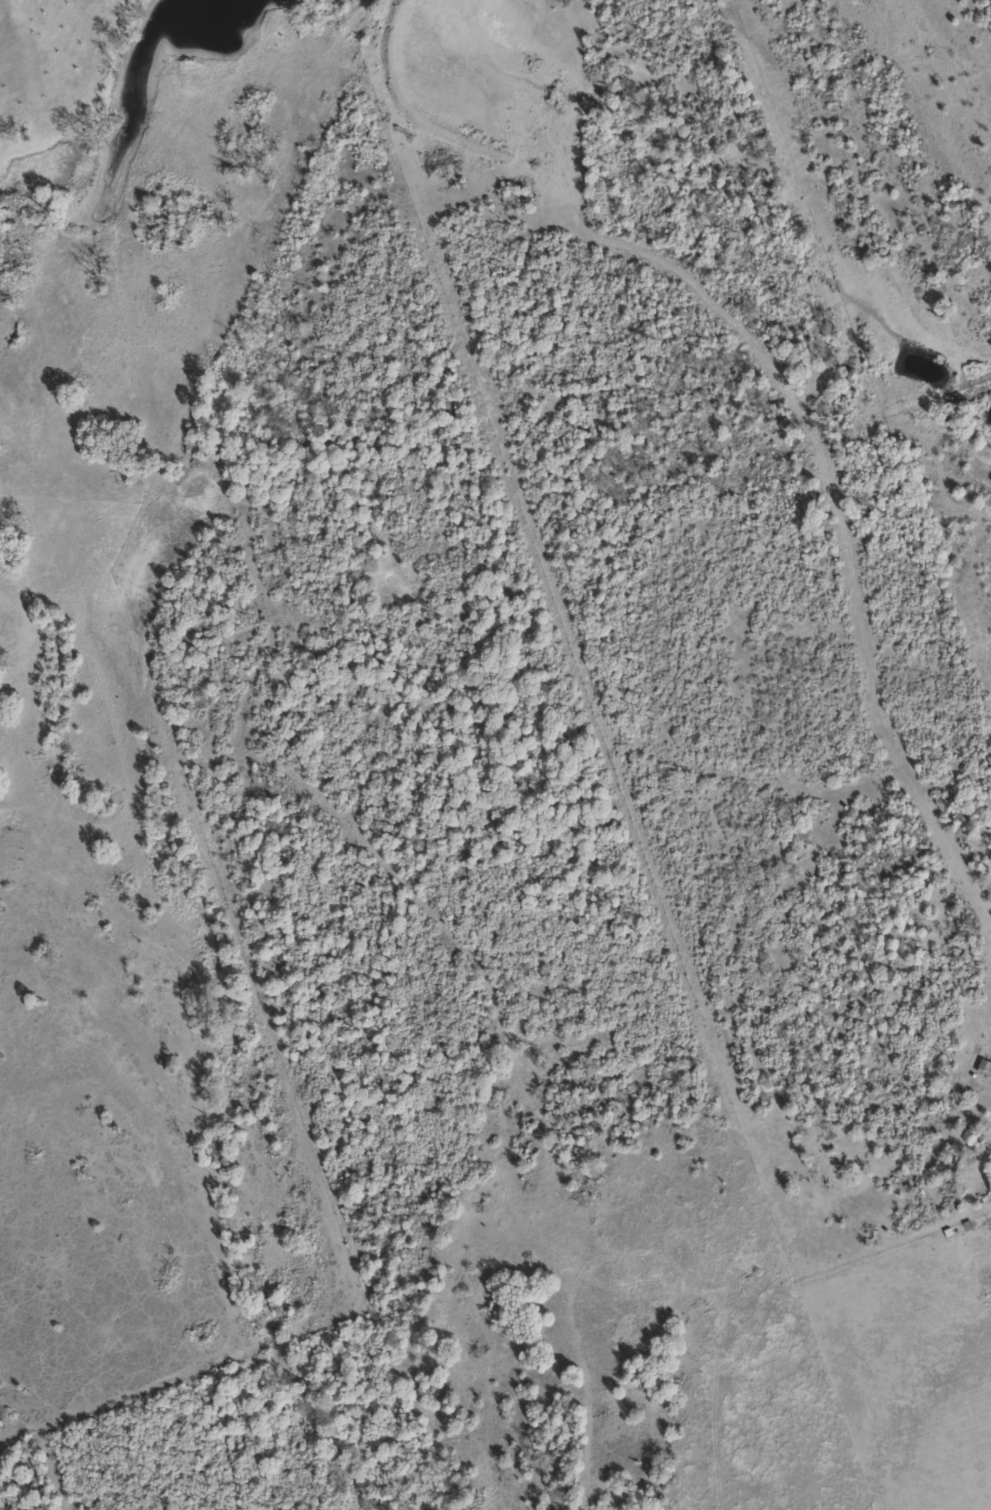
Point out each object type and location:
building: (983, 1067)

